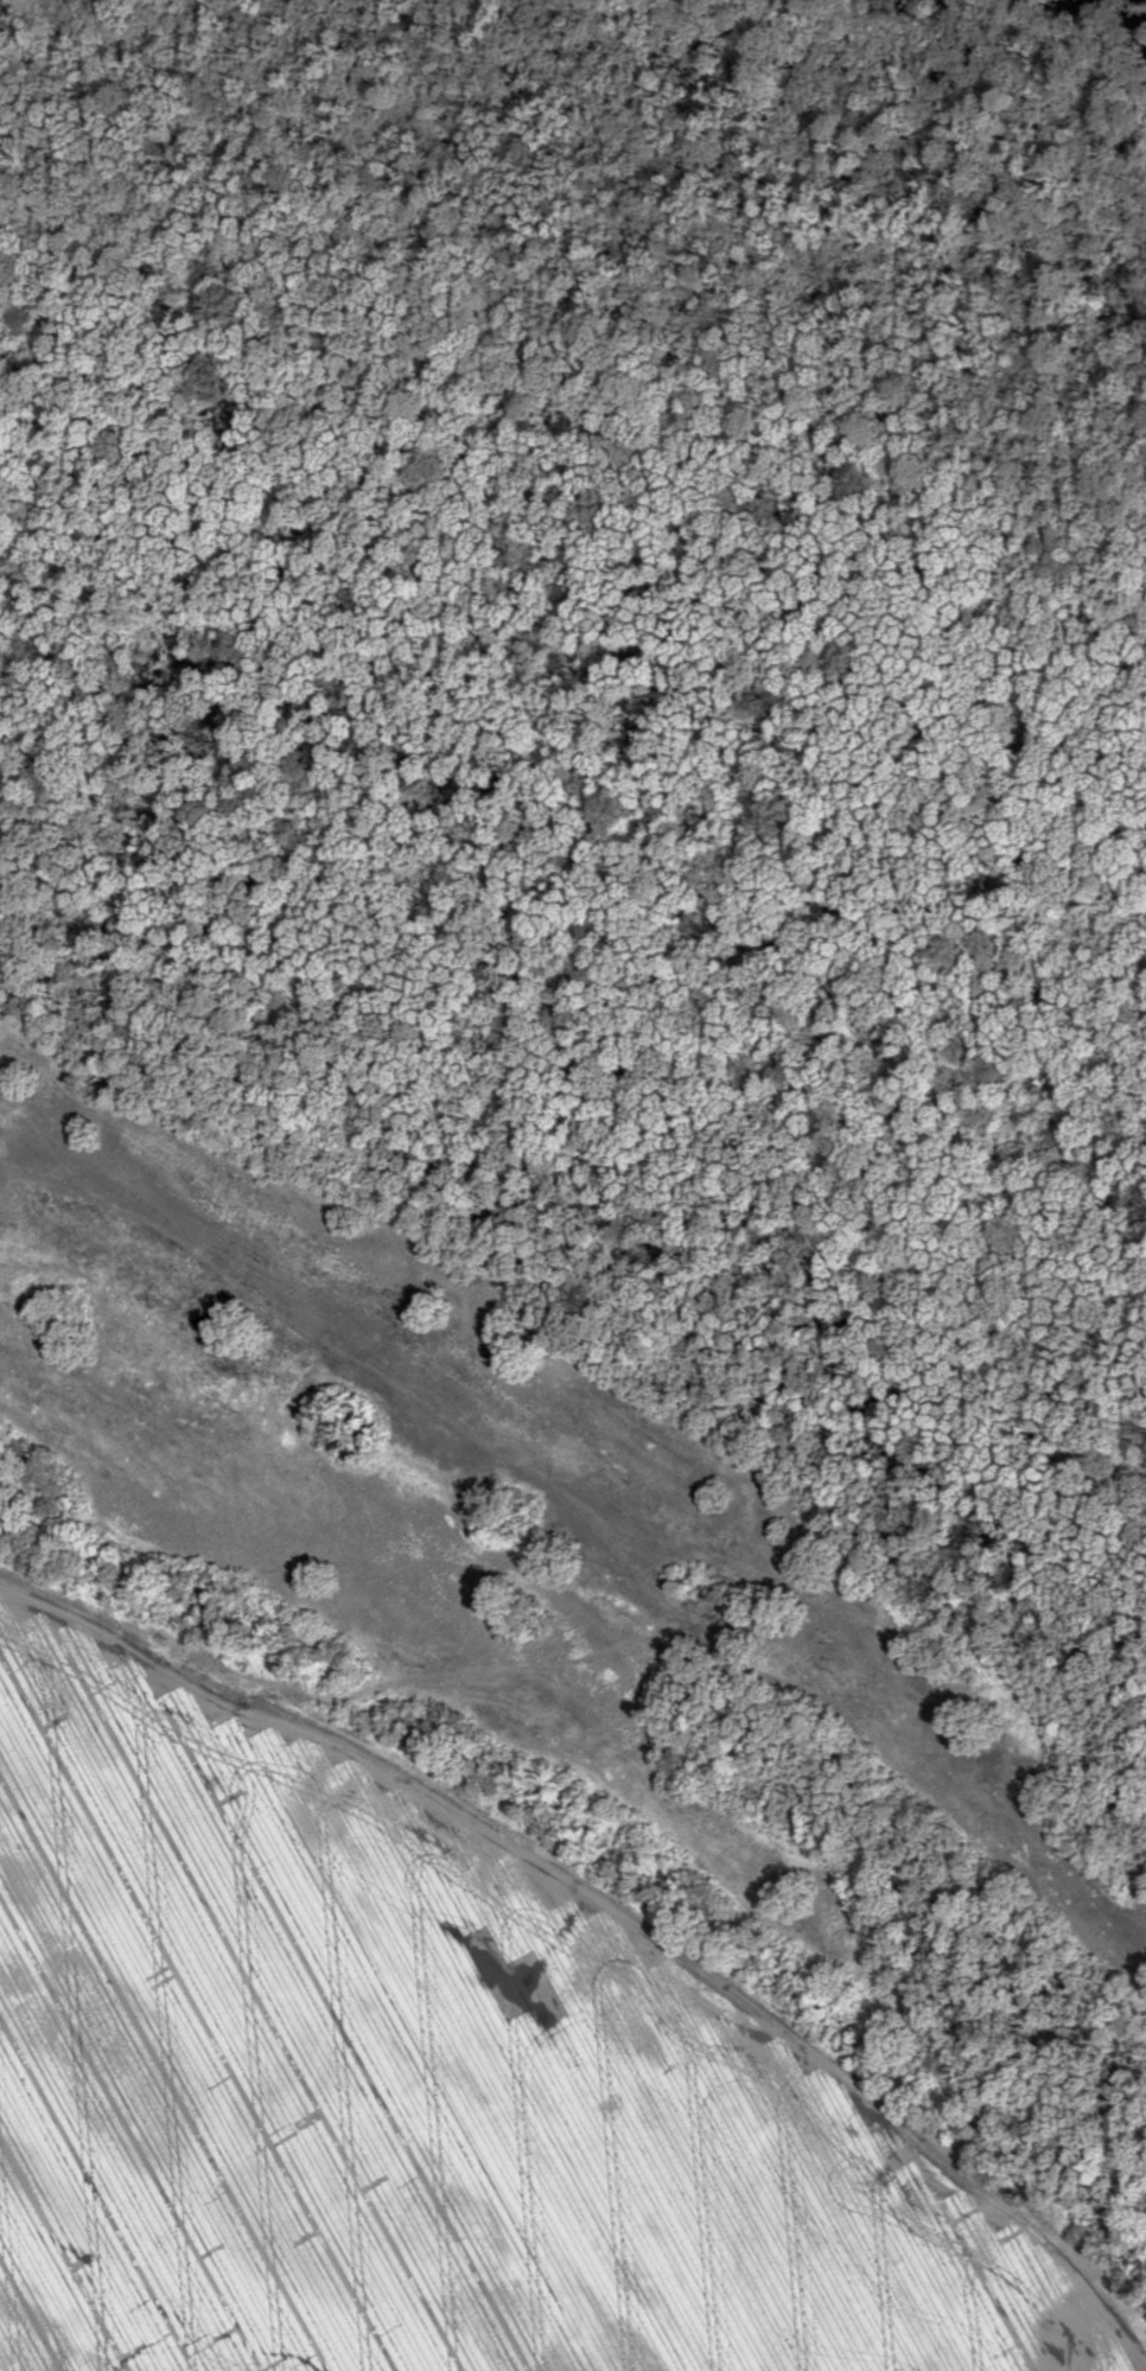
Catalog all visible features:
road: (604, 1895)

